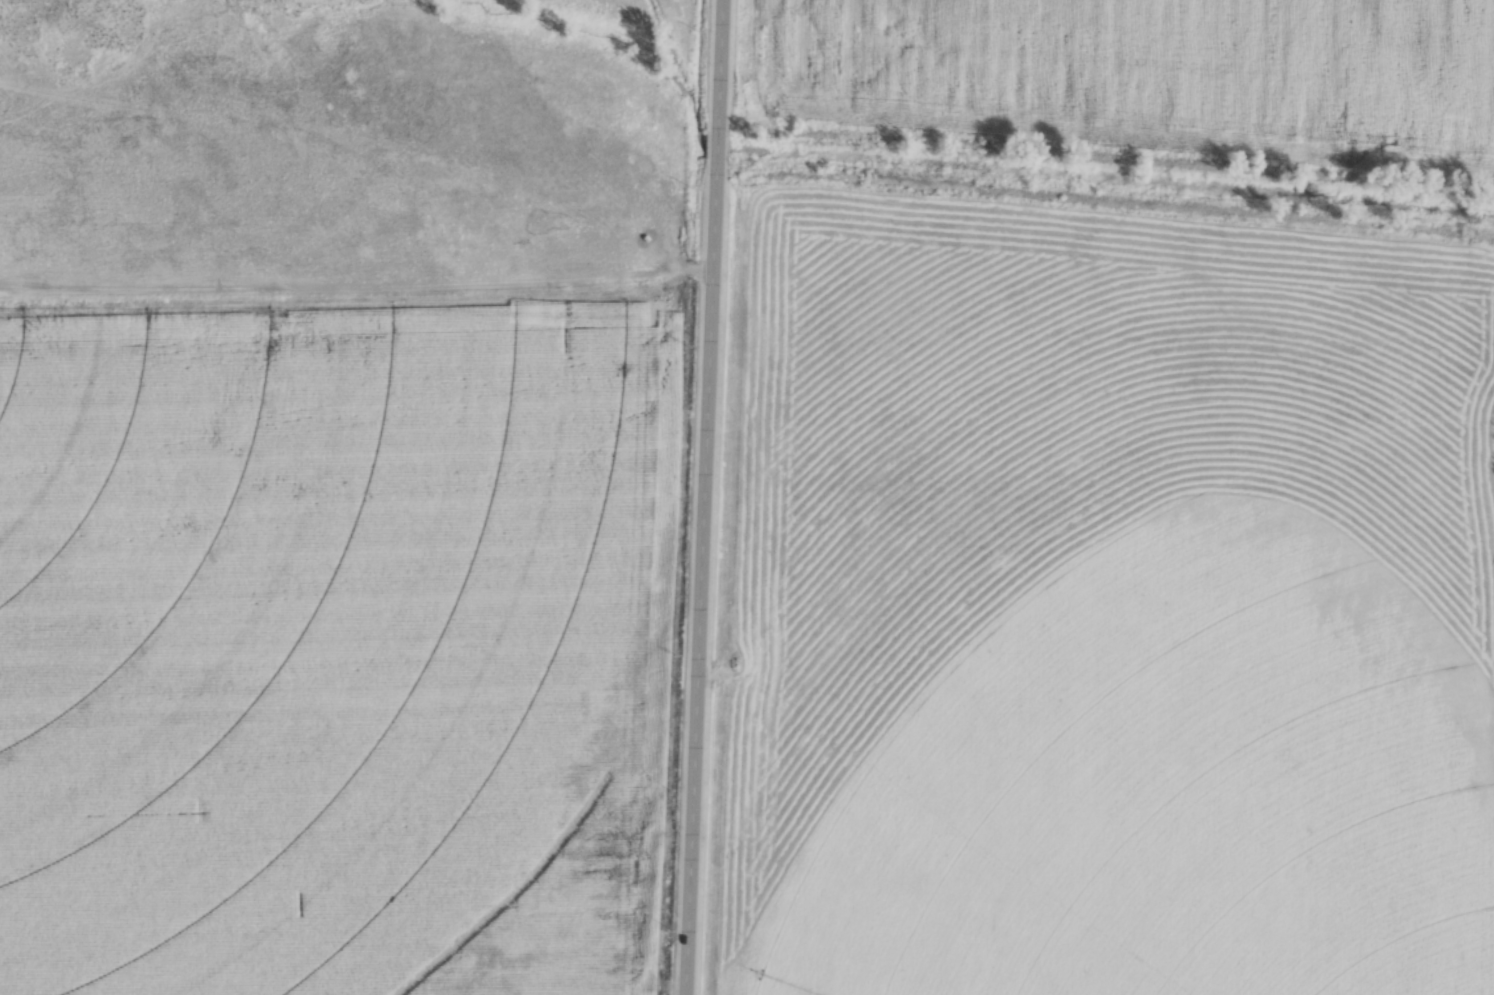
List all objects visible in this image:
crop: (1150, 68)
road: (704, 497)

